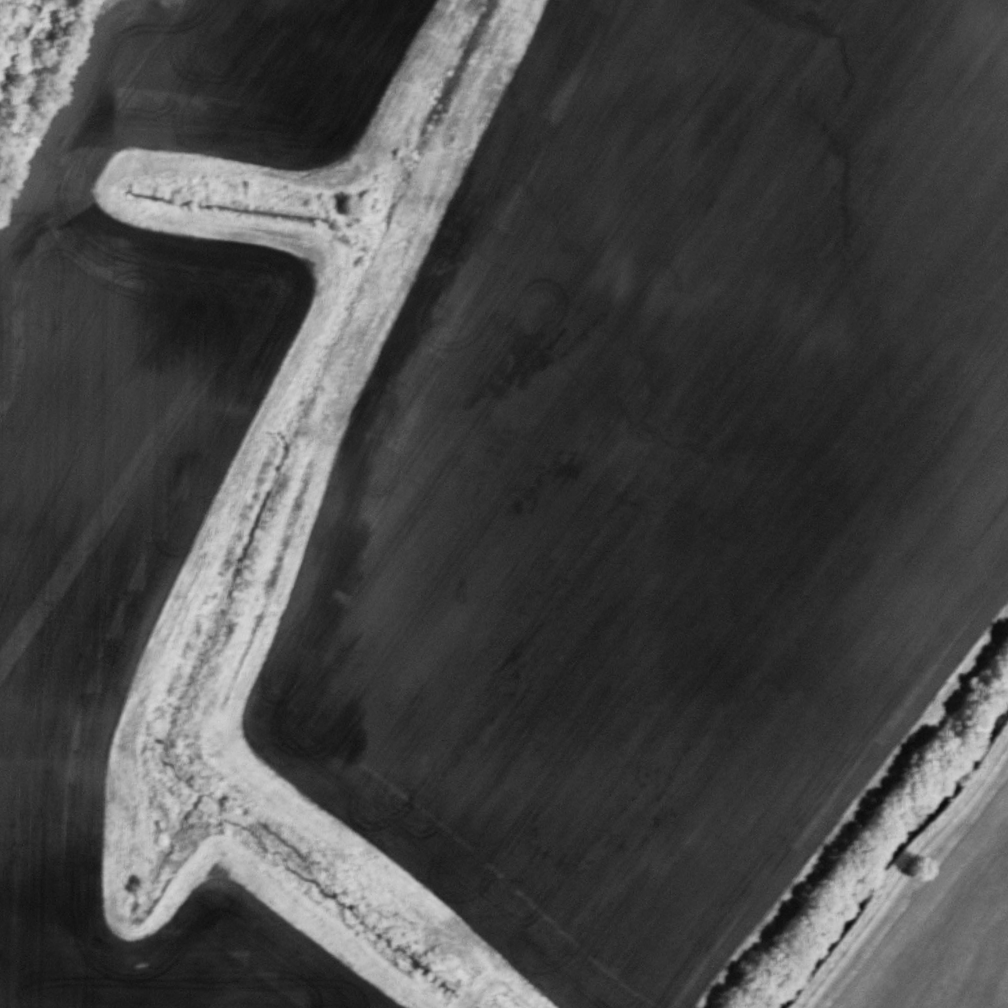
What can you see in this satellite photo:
building: (12, 58)
road: (40, 83)

